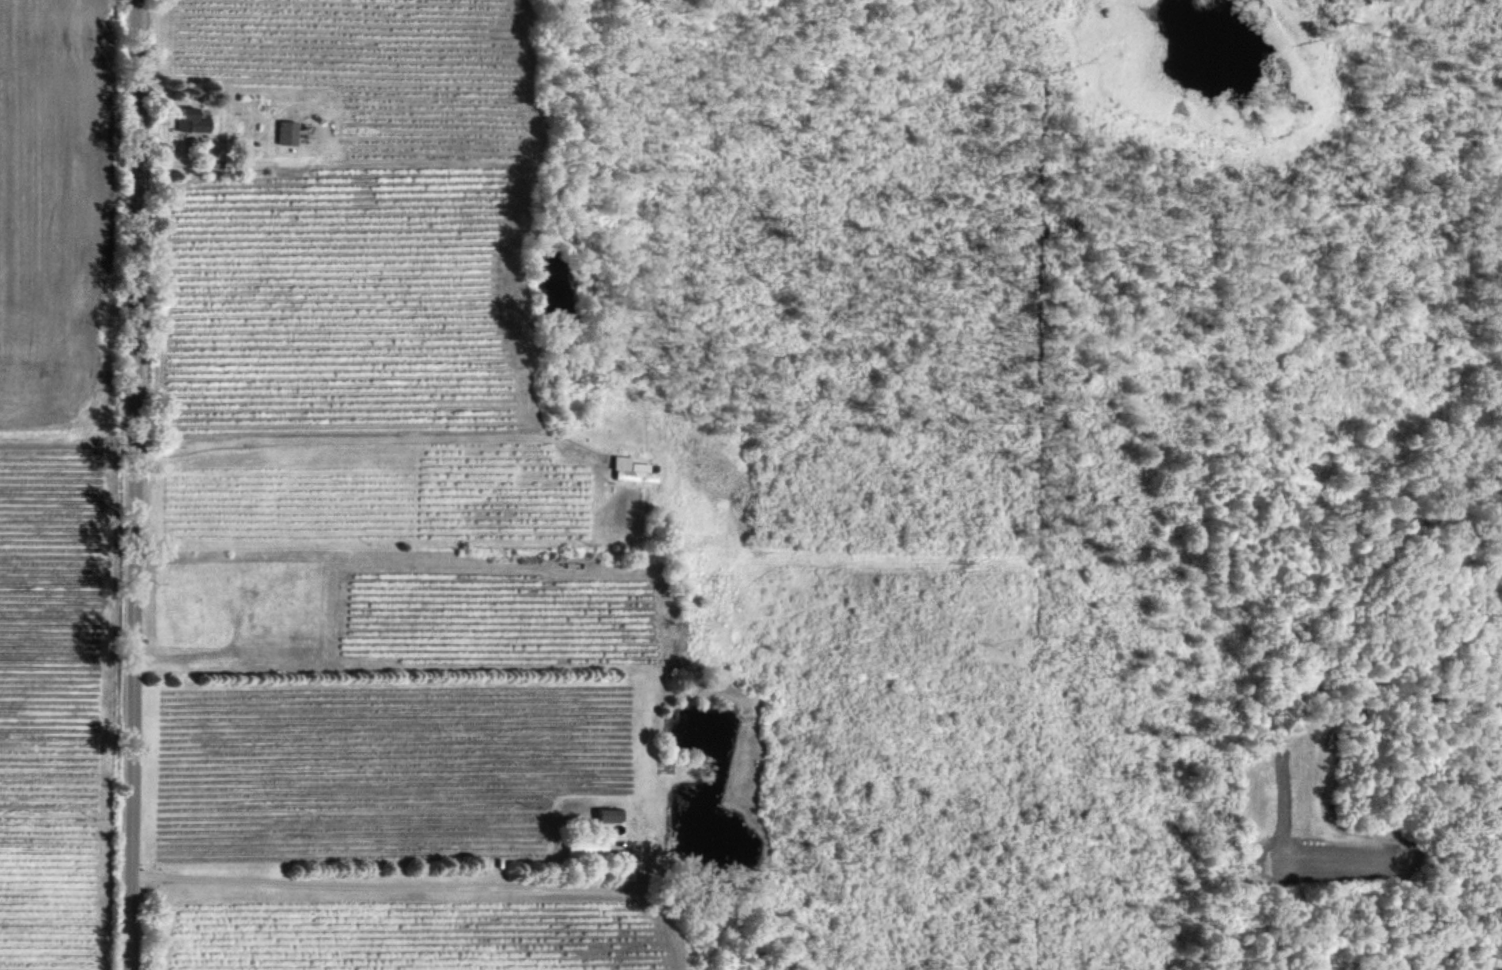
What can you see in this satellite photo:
building: (192, 120)
building: (288, 132)
building: (633, 470)
road: (138, 485)
building: (609, 814)
building: (587, 848)

